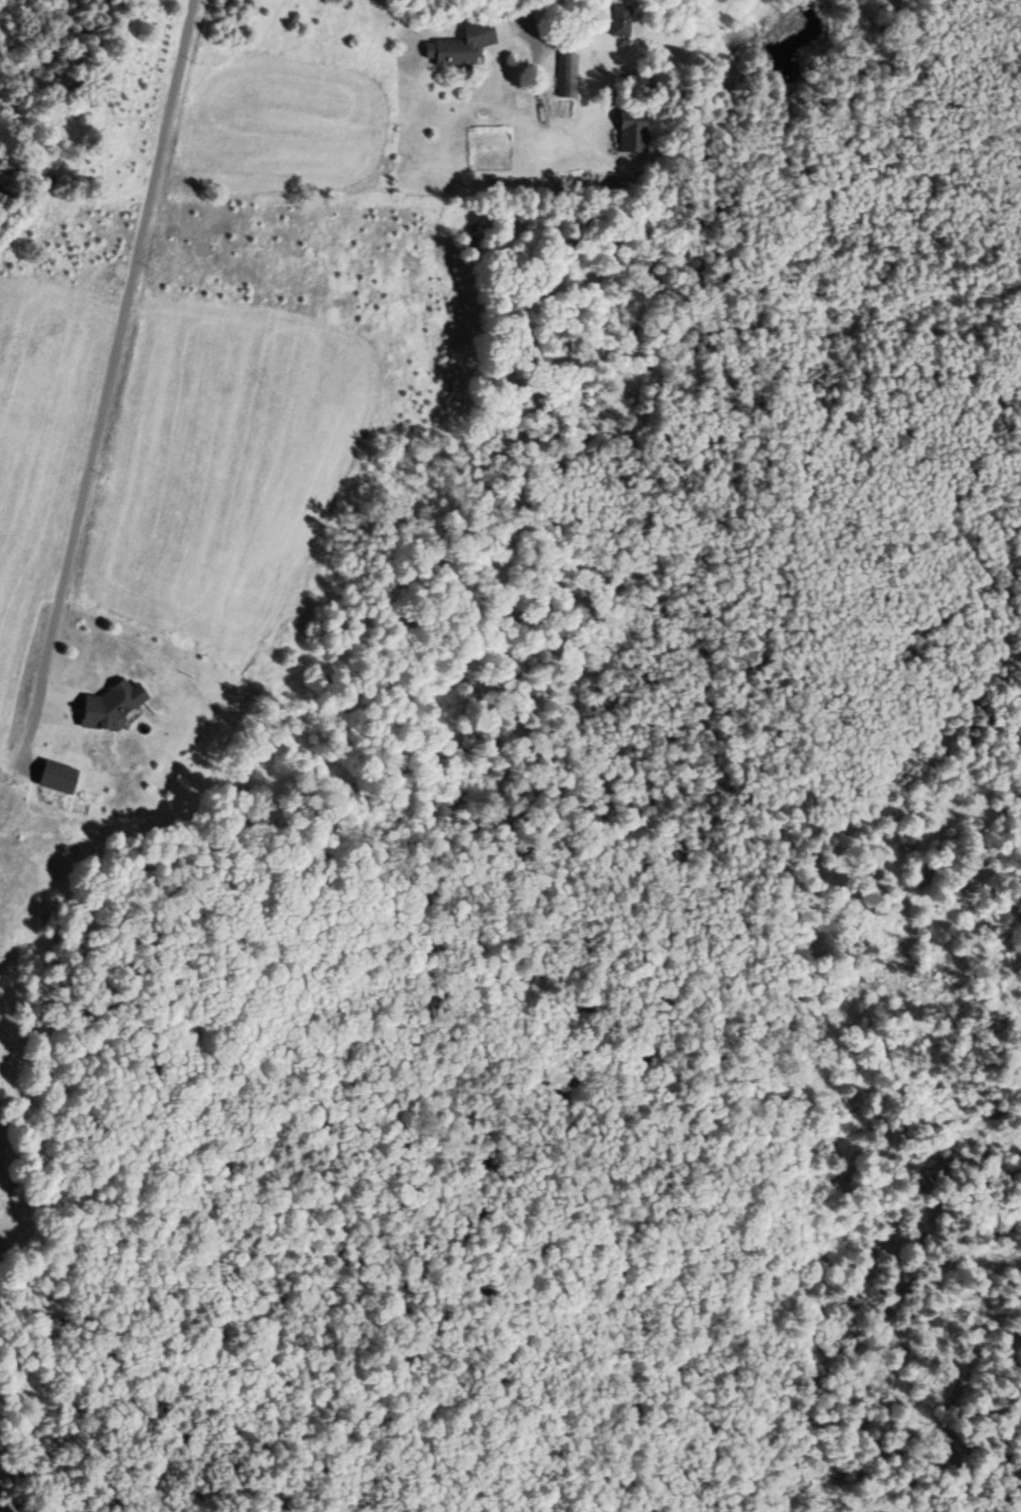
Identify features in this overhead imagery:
building: (619, 20)
building: (460, 46)
building: (569, 75)
building: (631, 130)
building: (108, 706)
building: (56, 778)

